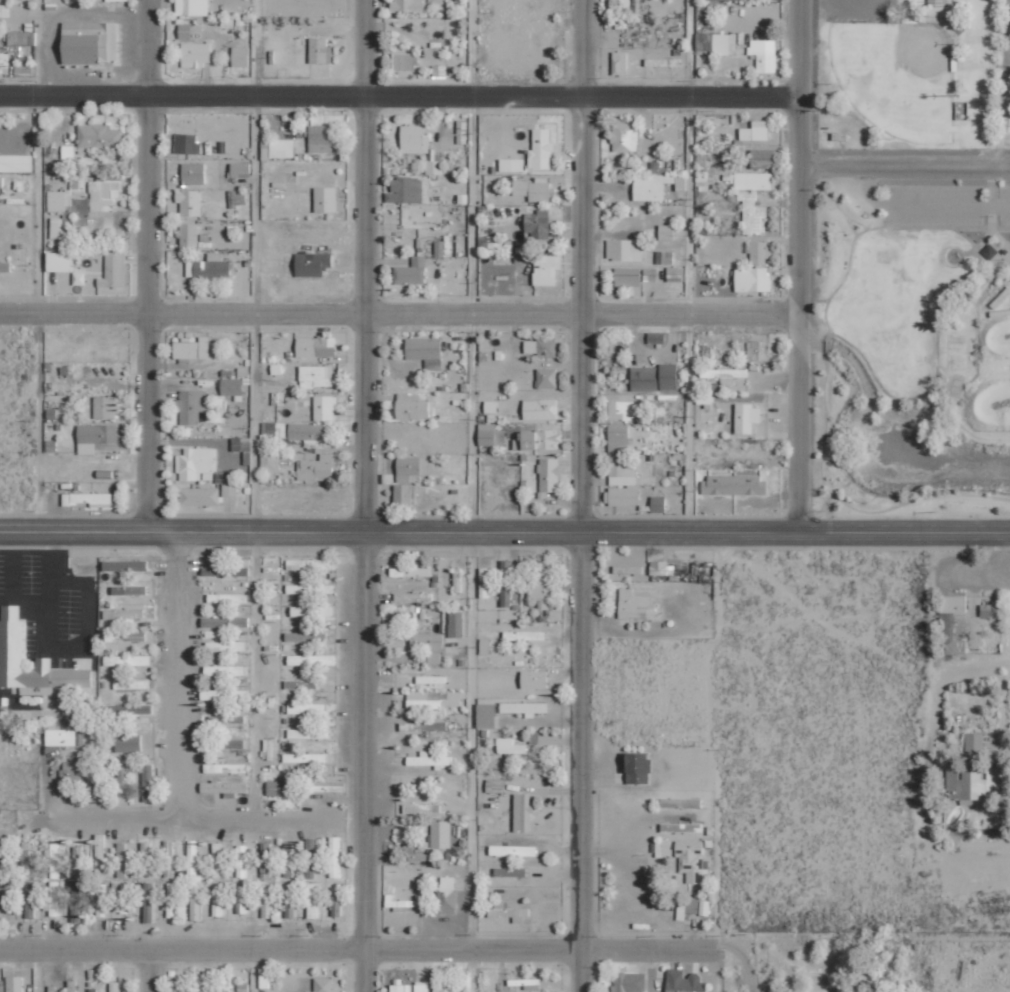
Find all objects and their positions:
building: (115, 0)
building: (728, 0)
building: (407, 6)
building: (624, 6)
building: (191, 7)
building: (4, 10)
building: (183, 31)
building: (21, 38)
building: (88, 42)
building: (716, 43)
building: (320, 50)
building: (195, 54)
building: (763, 54)
building: (239, 56)
building: (4, 58)
building: (404, 61)
building: (619, 63)
building: (438, 72)
park: (896, 75)
road: (399, 94)
building: (755, 131)
building: (625, 136)
building: (97, 138)
building: (320, 138)
building: (413, 139)
building: (186, 143)
building: (541, 144)
building: (277, 148)
building: (67, 152)
building: (762, 157)
building: (15, 163)
building: (511, 165)
building: (433, 167)
road: (903, 168)
building: (239, 169)
building: (192, 173)
building: (753, 181)
building: (655, 185)
building: (0, 186)
building: (534, 189)
building: (404, 190)
building: (236, 198)
building: (324, 199)
building: (84, 201)
building: (189, 202)
building: (752, 213)
building: (537, 225)
building: (56, 228)
building: (666, 232)
building: (188, 234)
building: (439, 249)
building: (624, 249)
building: (758, 252)
building: (664, 257)
building: (58, 261)
building: (311, 264)
road: (147, 265)
building: (4, 266)
road: (256, 266)
road: (689, 266)
road: (794, 266)
road: (41, 267)
building: (208, 267)
building: (545, 269)
building: (113, 270)
building: (411, 272)
building: (650, 274)
building: (676, 274)
building: (627, 276)
building: (78, 278)
building: (751, 279)
road: (397, 313)
building: (655, 337)
building: (315, 346)
building: (540, 347)
building: (191, 348)
building: (424, 351)
building: (758, 351)
building: (723, 374)
building: (315, 376)
building: (653, 377)
building: (546, 378)
building: (230, 387)
building: (190, 406)
building: (106, 407)
building: (324, 408)
building: (410, 408)
building: (539, 409)
building: (619, 410)
building: (745, 418)
building: (273, 430)
building: (307, 431)
building: (490, 435)
building: (94, 437)
building: (618, 438)
building: (540, 439)
building: (242, 448)
building: (269, 462)
building: (203, 468)
building: (316, 469)
building: (407, 469)
building: (623, 471)
building: (548, 476)
building: (733, 485)
road: (366, 495)
building: (402, 495)
road: (471, 495)
road: (580, 495)
building: (198, 496)
building: (621, 496)
building: (86, 498)
building: (657, 504)
road: (504, 534)
building: (124, 564)
building: (310, 564)
building: (627, 569)
building: (225, 570)
building: (667, 570)
building: (410, 572)
building: (457, 579)
building: (483, 582)
building: (505, 583)
building: (309, 588)
building: (128, 589)
building: (541, 589)
building: (413, 596)
building: (226, 597)
building: (633, 604)
building: (987, 609)
building: (312, 611)
building: (123, 613)
building: (224, 622)
building: (455, 623)
building: (951, 624)
building: (522, 635)
building: (125, 636)
building: (305, 636)
building: (11, 638)
building: (426, 640)
building: (484, 645)
building: (226, 646)
building: (433, 658)
building: (126, 660)
building: (311, 660)
building: (224, 670)
building: (533, 678)
building: (431, 679)
building: (131, 684)
building: (300, 684)
building: (224, 694)
building: (435, 699)
building: (129, 708)
building: (524, 708)
building: (307, 709)
building: (486, 715)
building: (226, 719)
building: (423, 726)
building: (307, 733)
building: (60, 737)
building: (128, 742)
building: (226, 742)
building: (974, 742)
building: (510, 747)
building: (304, 757)
building: (429, 760)
building: (637, 766)
building: (224, 767)
building: (71, 773)
building: (98, 781)
building: (122, 781)
building: (147, 782)
building: (495, 785)
building: (971, 785)
building: (324, 786)
building: (223, 787)
building: (281, 787)
building: (681, 803)
building: (525, 811)
building: (681, 827)
building: (441, 834)
building: (661, 848)
building: (512, 850)
building: (100, 853)
building: (334, 857)
building: (146, 858)
building: (169, 858)
building: (192, 858)
building: (54, 859)
building: (121, 859)
building: (217, 859)
building: (287, 859)
building: (26, 860)
building: (241, 860)
building: (691, 860)
building: (263, 865)
building: (510, 871)
building: (446, 895)
building: (125, 898)
building: (30, 899)
building: (101, 899)
building: (241, 899)
building: (54, 900)
building: (172, 900)
building: (267, 900)
building: (290, 900)
building: (313, 900)
building: (76, 901)
building: (195, 901)
building: (217, 901)
building: (336, 901)
building: (148, 902)
building: (399, 904)
building: (691, 909)
building: (508, 911)
road: (359, 949)
road: (740, 962)
road: (37, 970)
road: (148, 970)
road: (253, 970)
building: (226, 982)
building: (628, 982)
building: (683, 982)
building: (201, 983)
building: (14, 984)
building: (323, 984)
building: (71, 985)
building: (421, 987)
building: (401, 988)
building: (444, 989)

